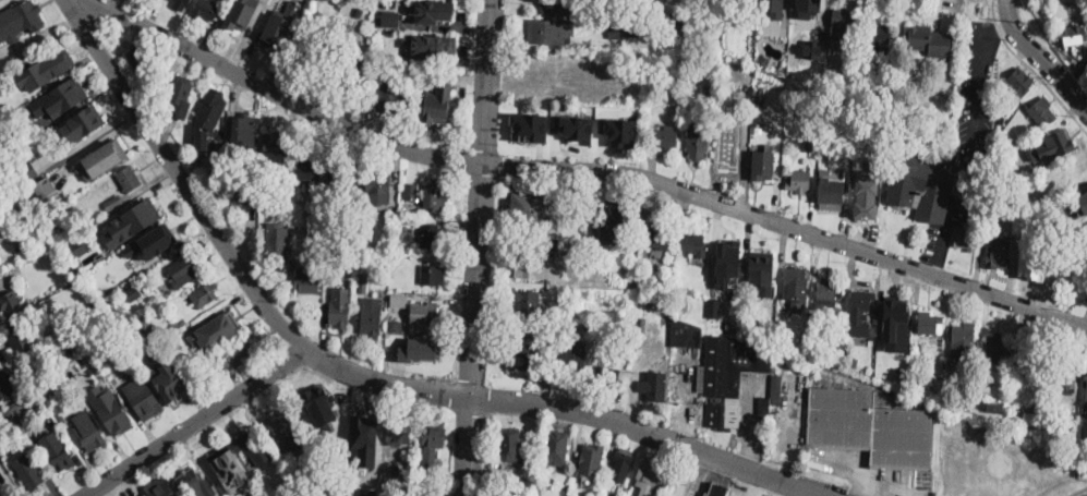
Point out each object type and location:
building: (181, 4)
building: (729, 4)
building: (809, 5)
building: (558, 7)
building: (773, 8)
building: (206, 10)
building: (433, 10)
building: (359, 11)
building: (241, 12)
building: (390, 17)
building: (677, 19)
building: (21, 20)
building: (279, 24)
building: (843, 28)
building: (624, 29)
building: (548, 34)
building: (878, 35)
building: (1073, 36)
building: (931, 40)
building: (633, 41)
building: (440, 46)
building: (312, 47)
building: (811, 47)
building: (387, 50)
road: (1040, 57)
building: (141, 60)
building: (872, 62)
building: (57, 63)
building: (347, 69)
road: (1032, 69)
building: (427, 72)
building: (901, 73)
building: (376, 75)
building: (601, 76)
building: (745, 83)
building: (837, 83)
building: (1017, 86)
building: (568, 88)
building: (159, 90)
building: (180, 90)
building: (709, 90)
building: (591, 95)
building: (61, 97)
building: (389, 98)
building: (16, 100)
building: (761, 101)
building: (437, 102)
building: (859, 102)
building: (212, 109)
building: (1041, 110)
building: (90, 120)
building: (869, 124)
building: (529, 126)
building: (575, 126)
building: (40, 128)
building: (619, 130)
building: (811, 132)
building: (246, 133)
building: (663, 136)
building: (698, 140)
building: (218, 142)
building: (1059, 143)
building: (812, 144)
building: (836, 144)
building: (1000, 144)
building: (47, 146)
road: (973, 146)
building: (276, 147)
building: (112, 149)
building: (57, 156)
building: (733, 160)
building: (72, 162)
building: (762, 167)
building: (28, 170)
building: (311, 170)
road: (578, 171)
building: (1078, 173)
building: (342, 177)
building: (129, 179)
road: (180, 179)
building: (798, 182)
building: (922, 185)
building: (378, 186)
building: (1022, 187)
building: (45, 190)
building: (411, 191)
building: (831, 192)
building: (867, 195)
building: (436, 196)
building: (268, 197)
building: (1080, 201)
building: (113, 203)
building: (316, 206)
building: (529, 207)
building: (143, 210)
building: (991, 211)
building: (23, 213)
building: (35, 218)
building: (613, 221)
building: (432, 235)
building: (657, 238)
building: (966, 239)
building: (1076, 239)
building: (167, 240)
building: (277, 243)
building: (695, 244)
building: (589, 245)
building: (77, 247)
road: (478, 247)
building: (394, 250)
building: (998, 250)
building: (1049, 256)
building: (727, 262)
building: (533, 265)
building: (762, 270)
building: (183, 273)
building: (88, 274)
building: (334, 275)
building: (433, 275)
building: (1086, 278)
building: (307, 280)
building: (363, 283)
building: (795, 285)
building: (394, 289)
building: (165, 290)
building: (689, 291)
building: (204, 292)
building: (101, 293)
building: (134, 293)
building: (828, 293)
building: (123, 301)
building: (398, 301)
building: (12, 302)
building: (527, 302)
building: (667, 305)
building: (714, 309)
building: (860, 312)
building: (339, 314)
building: (426, 314)
building: (580, 315)
building: (372, 319)
building: (716, 322)
building: (930, 322)
building: (225, 323)
building: (895, 324)
building: (180, 325)
building: (728, 326)
building: (144, 327)
building: (396, 327)
building: (87, 332)
building: (747, 335)
building: (762, 336)
building: (188, 337)
building: (22, 338)
building: (964, 341)
building: (177, 344)
building: (424, 350)
building: (997, 350)
building: (235, 353)
building: (2, 355)
building: (523, 356)
building: (1029, 358)
building: (575, 360)
building: (854, 360)
building: (202, 361)
building: (1063, 367)
building: (722, 371)
building: (886, 373)
building: (902, 374)
building: (941, 374)
building: (609, 376)
building: (64, 383)
building: (172, 383)
building: (775, 384)
building: (926, 384)
building: (3, 385)
building: (655, 387)
building: (1086, 391)
building: (961, 394)
building: (143, 397)
building: (111, 408)
road: (560, 408)
building: (995, 408)
building: (763, 412)
building: (60, 413)
building: (15, 418)
building: (329, 418)
road: (234, 419)
road: (195, 422)
road: (225, 425)
building: (88, 428)
building: (871, 428)
building: (288, 430)
building: (400, 433)
building: (433, 435)
building: (365, 439)
building: (257, 446)
building: (556, 446)
building: (510, 447)
building: (57, 449)
building: (316, 449)
building: (430, 452)
building: (591, 460)
building: (529, 461)
building: (623, 465)
building: (234, 468)
building: (396, 470)
building: (28, 472)
building: (648, 474)
road: (685, 474)
road: (10, 480)
building: (196, 481)
building: (326, 488)
building: (716, 488)
road: (3, 489)
building: (159, 489)
building: (369, 492)
building: (261, 494)
building: (521, 494)
building: (178, 495)

